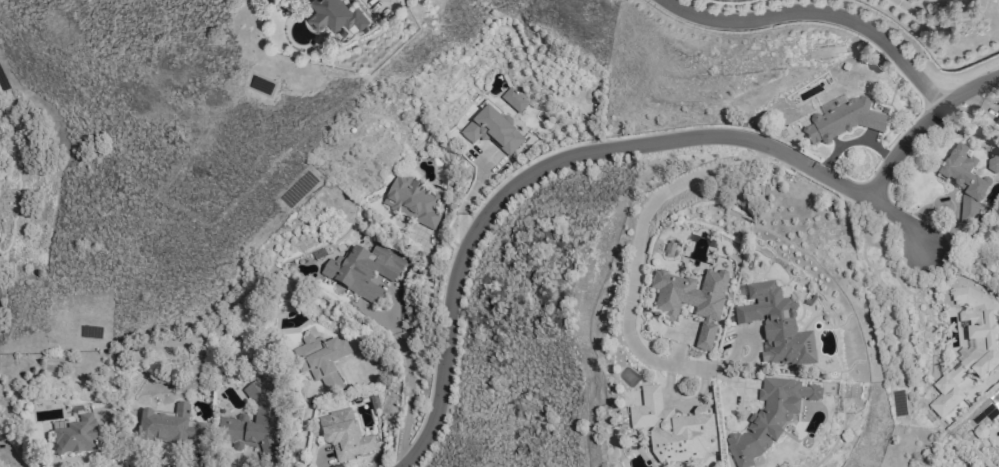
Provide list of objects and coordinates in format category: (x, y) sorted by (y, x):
building: (334, 16)
road: (815, 16)
building: (513, 96)
building: (997, 111)
building: (843, 120)
road: (922, 124)
building: (492, 128)
road: (580, 157)
building: (992, 163)
building: (963, 180)
building: (411, 200)
road: (639, 245)
building: (997, 245)
building: (669, 249)
building: (362, 269)
building: (691, 300)
building: (775, 325)
building: (981, 357)
building: (321, 358)
building: (768, 418)
building: (253, 424)
building: (170, 426)
road: (304, 427)
building: (672, 429)
building: (343, 434)
building: (75, 435)

